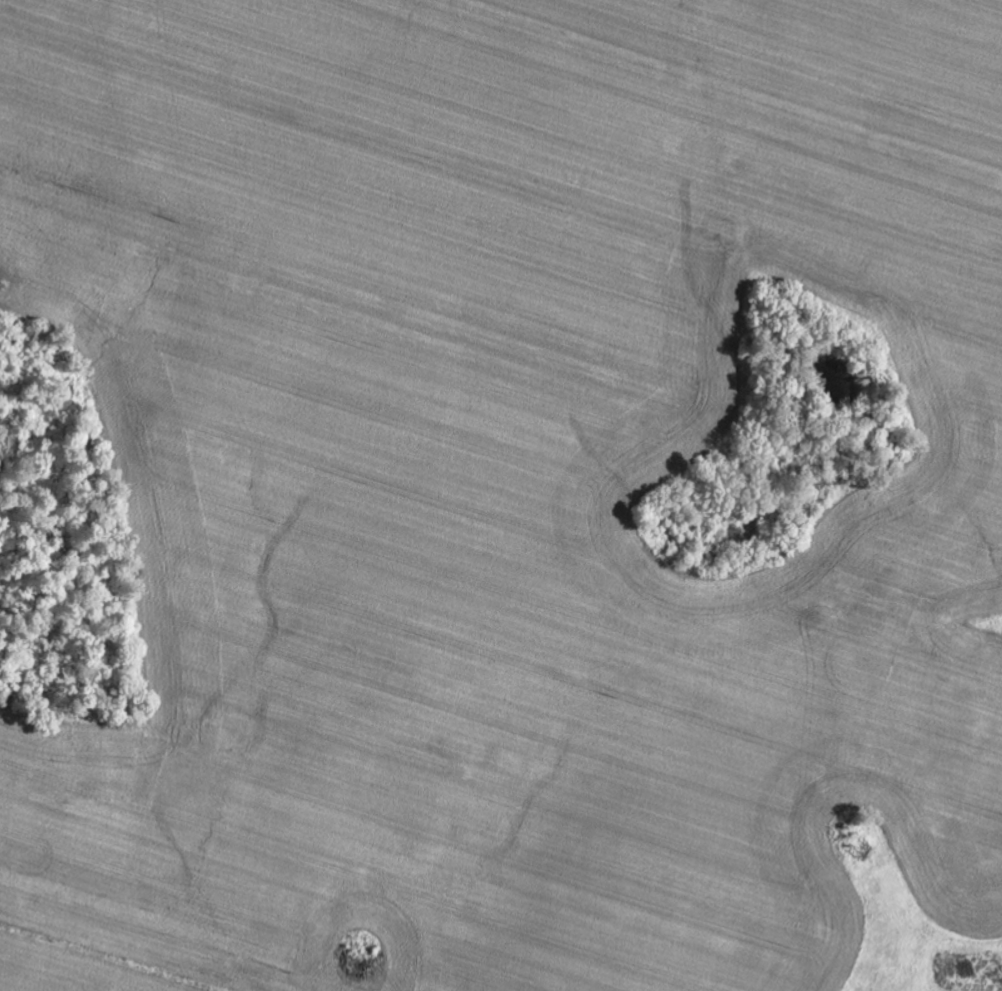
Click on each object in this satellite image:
road: (149, 942)

